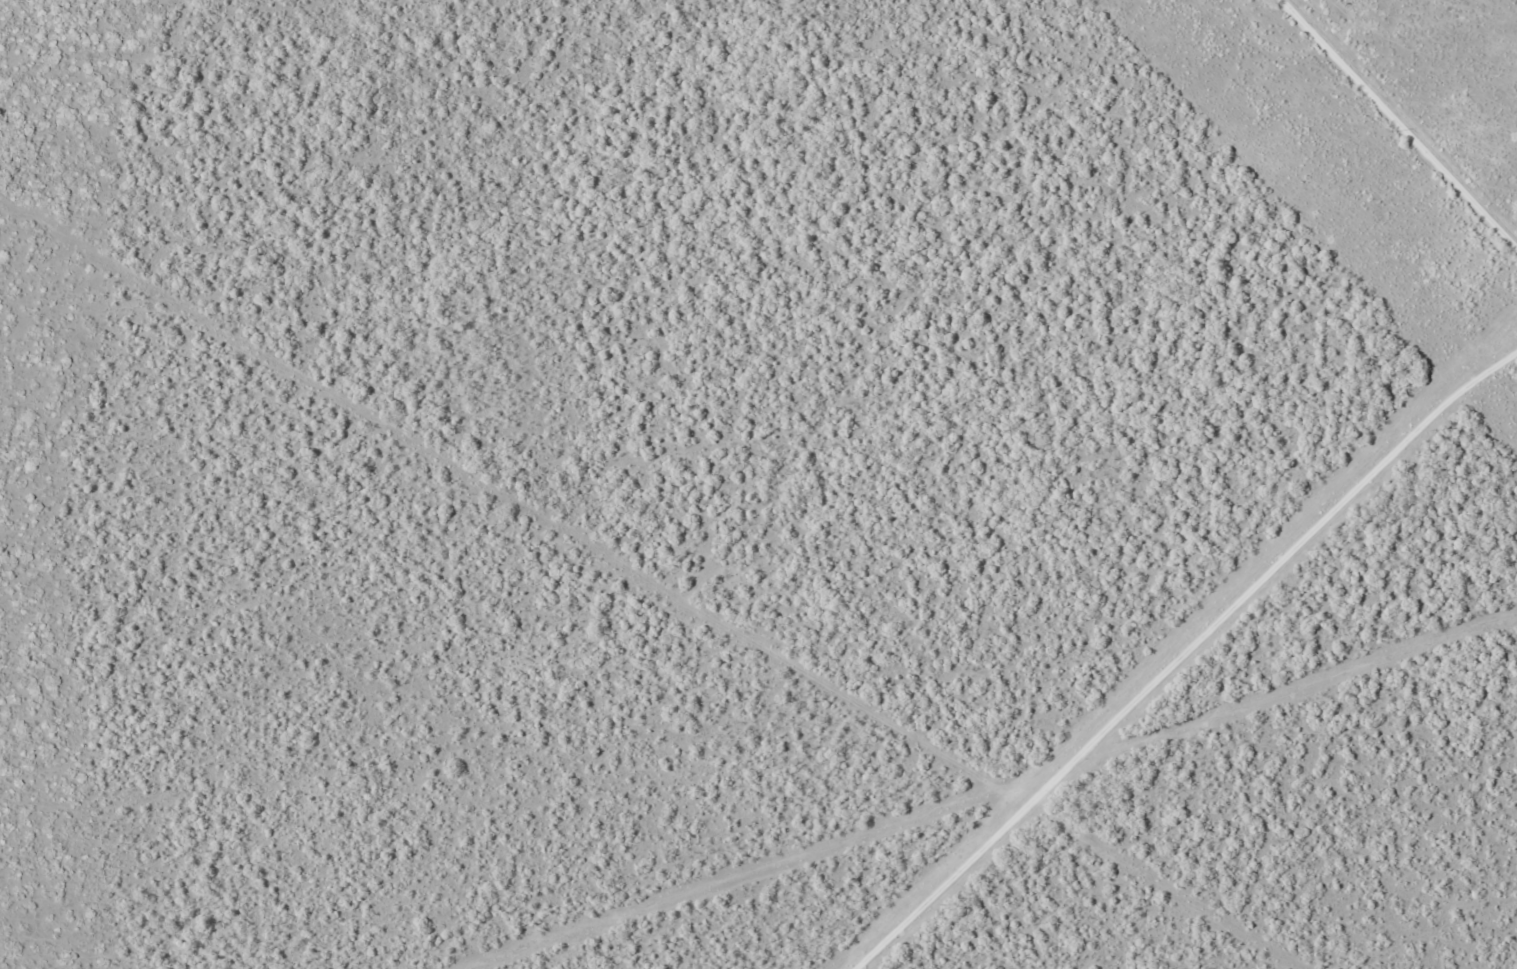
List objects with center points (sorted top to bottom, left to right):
road: (1393, 130)

